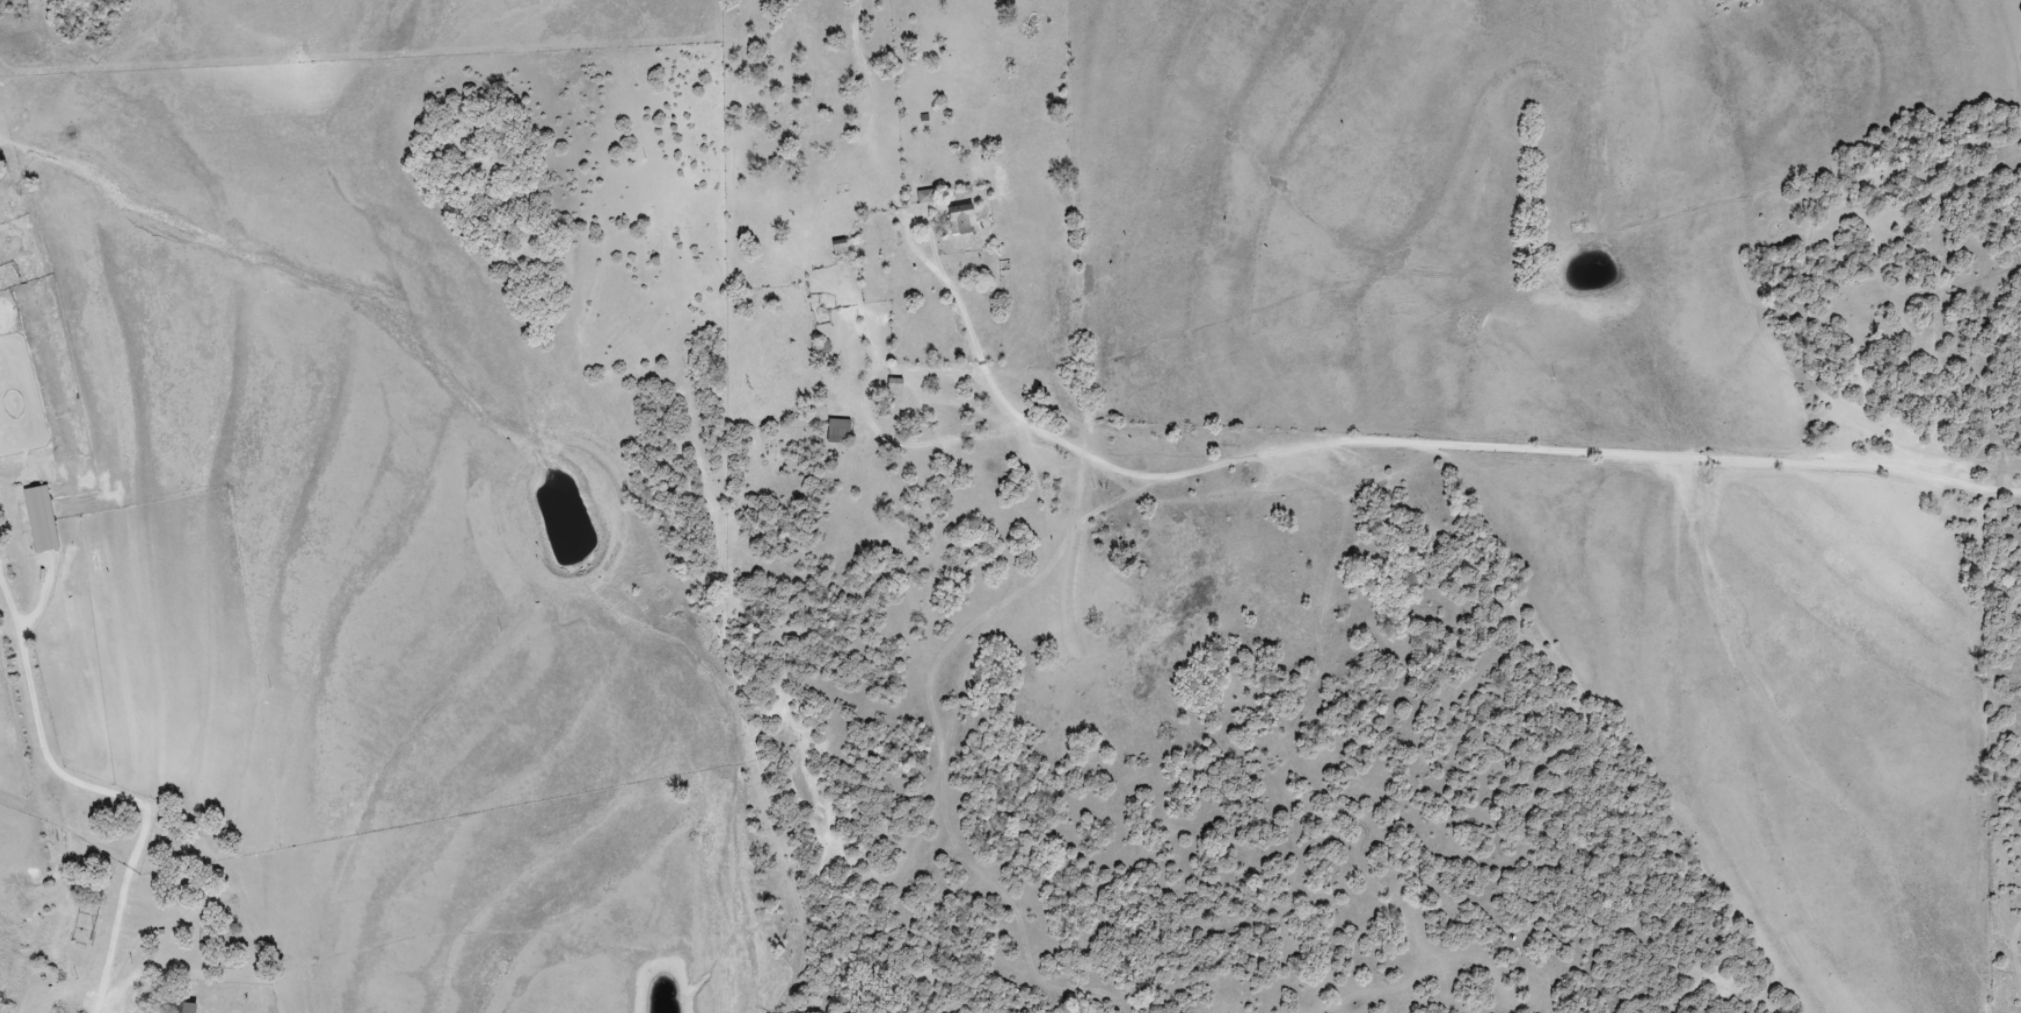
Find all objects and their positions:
road: (837, 177)
building: (925, 197)
building: (962, 219)
road: (1949, 303)
building: (895, 387)
building: (839, 431)
road: (1453, 445)
road: (846, 658)
road: (43, 749)
road: (112, 941)
building: (181, 1008)
road: (92, 1012)

